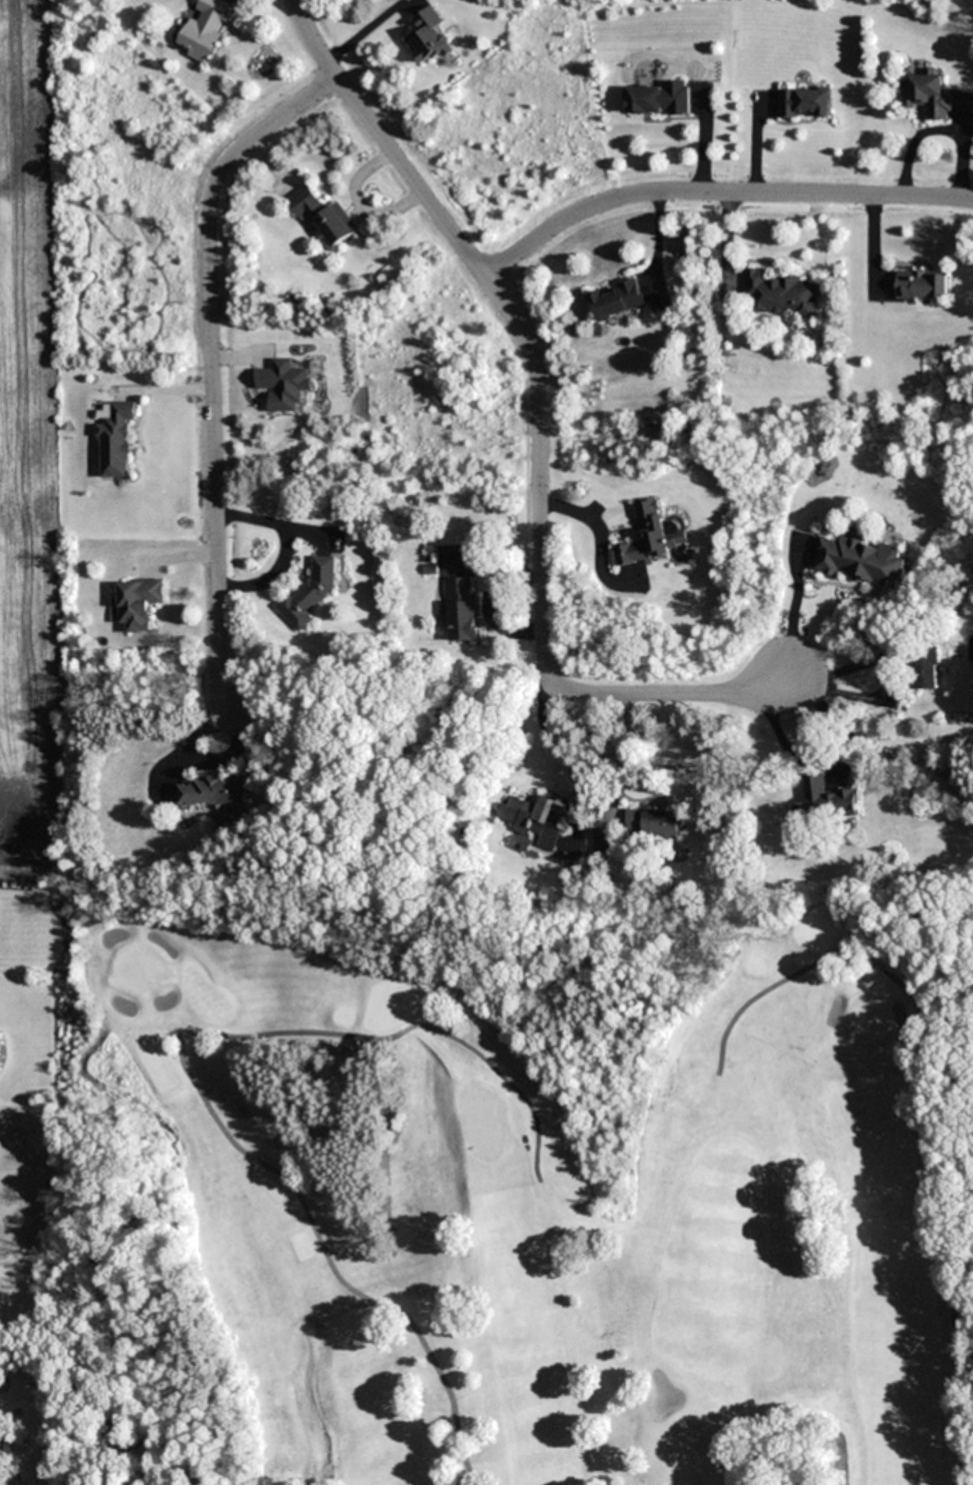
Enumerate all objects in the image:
building: (205, 29)
building: (427, 35)
road: (314, 42)
building: (927, 95)
building: (660, 99)
building: (803, 102)
road: (716, 192)
building: (325, 218)
building: (922, 285)
building: (780, 294)
building: (617, 300)
road: (213, 366)
building: (117, 440)
crop: (28, 451)
road: (539, 471)
building: (652, 536)
building: (861, 562)
building: (309, 594)
building: (138, 602)
building: (461, 610)
building: (924, 668)
building: (211, 793)
building: (825, 802)
building: (536, 820)
building: (653, 823)
building: (603, 840)
road: (192, 1083)
road: (933, 1099)
park: (516, 1180)
road: (309, 1409)
building: (2, 1448)

